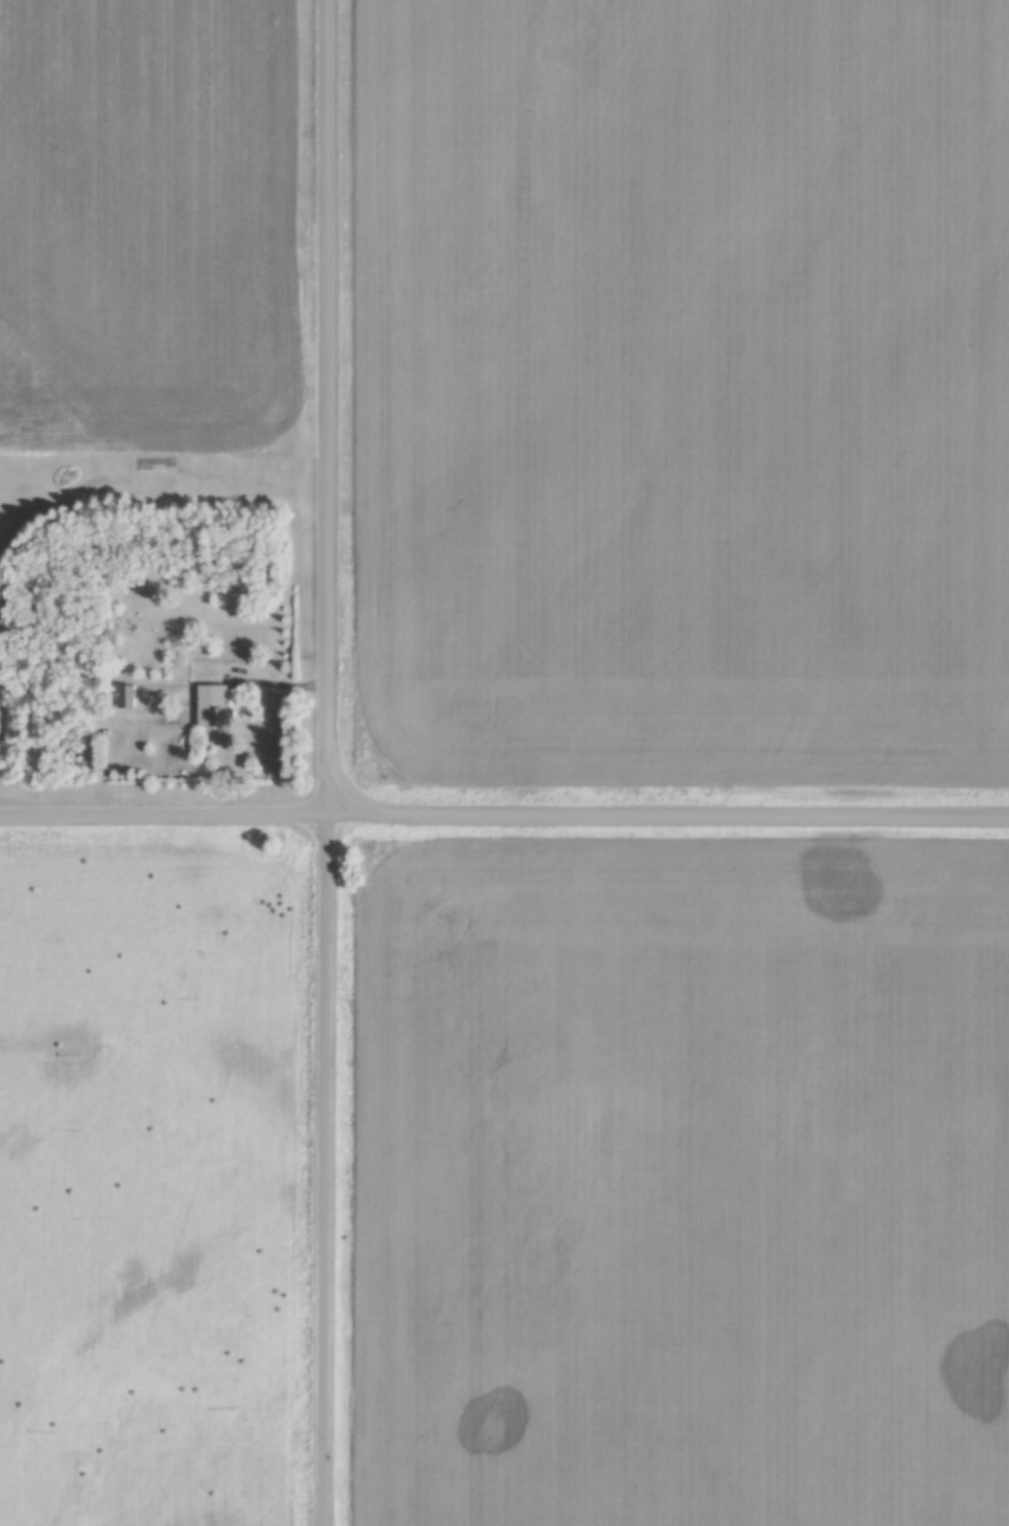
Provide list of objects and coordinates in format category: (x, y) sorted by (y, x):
road: (332, 406)
building: (127, 697)
building: (215, 708)
road: (504, 811)
road: (327, 1168)

